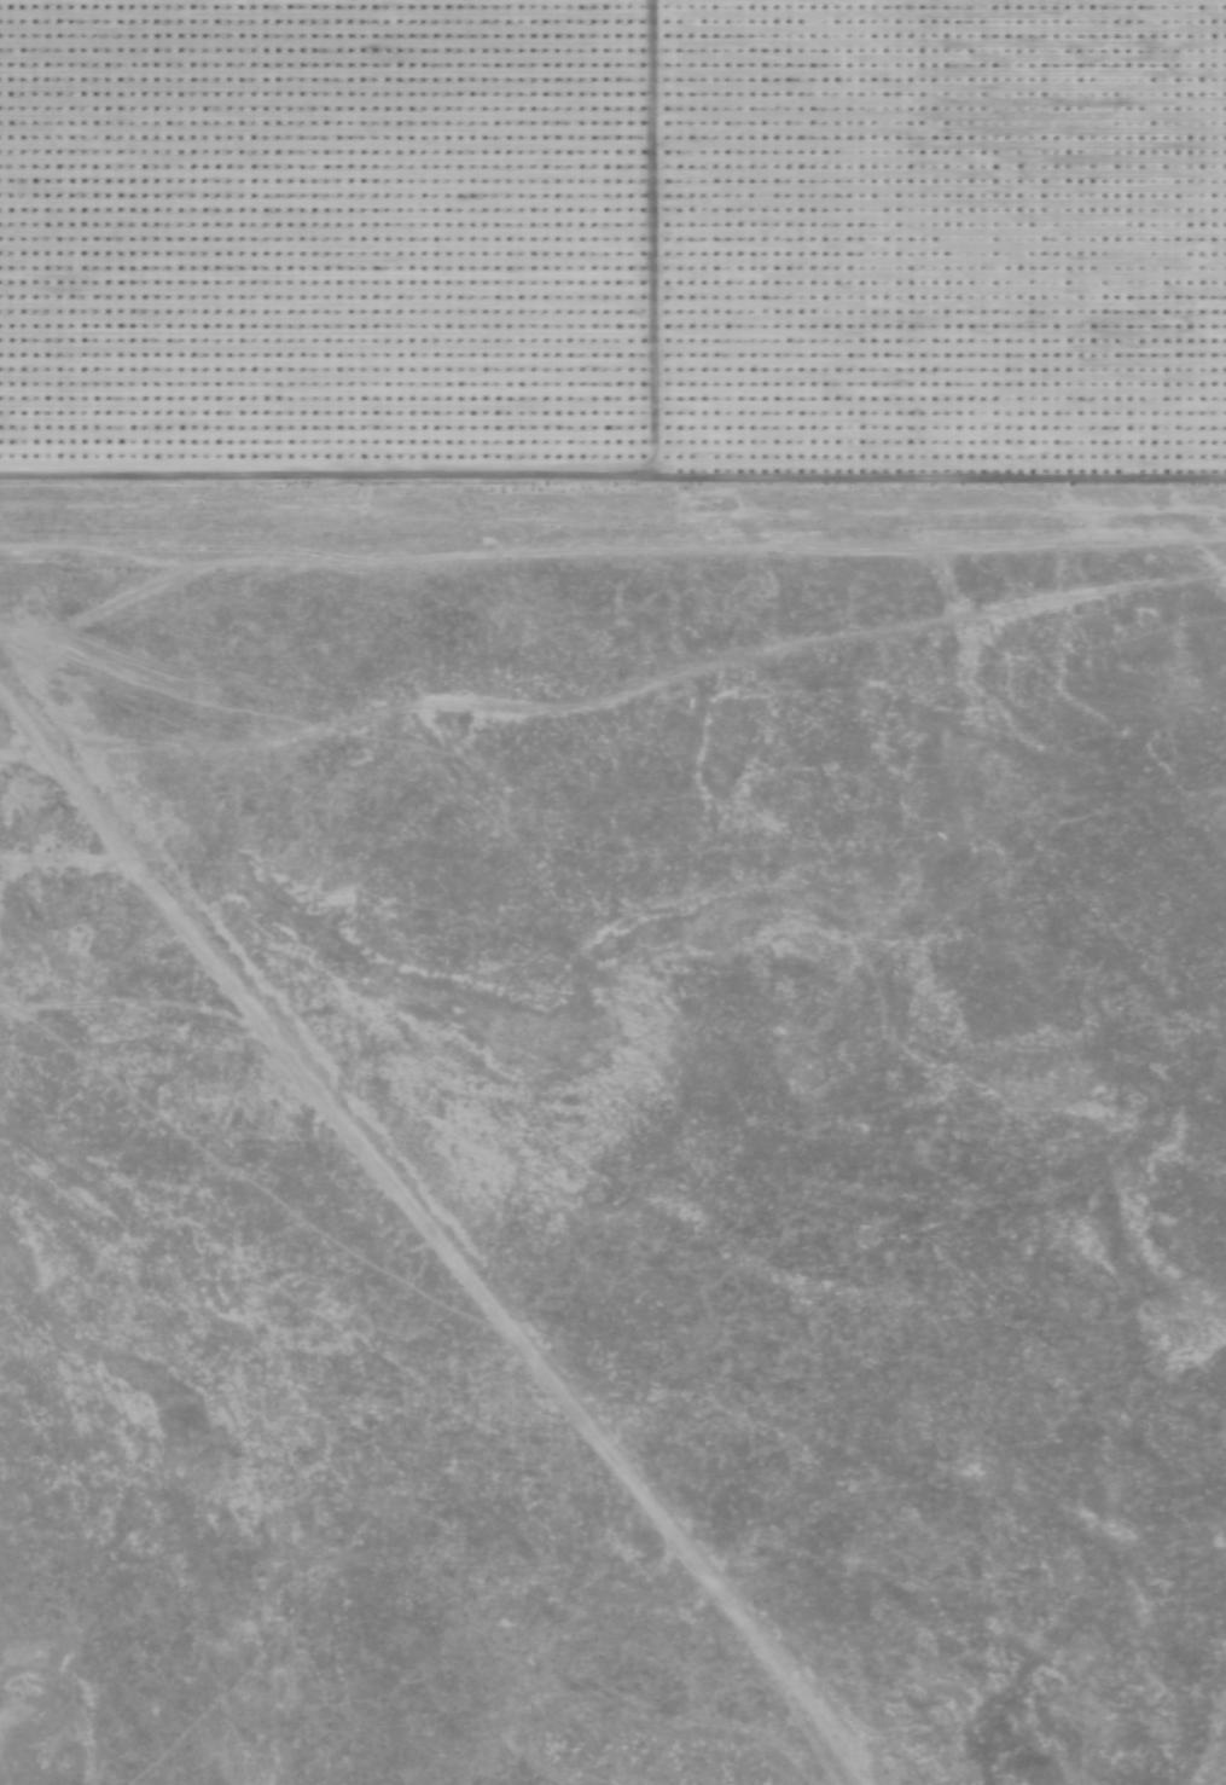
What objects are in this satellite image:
crop: (234, 213)

